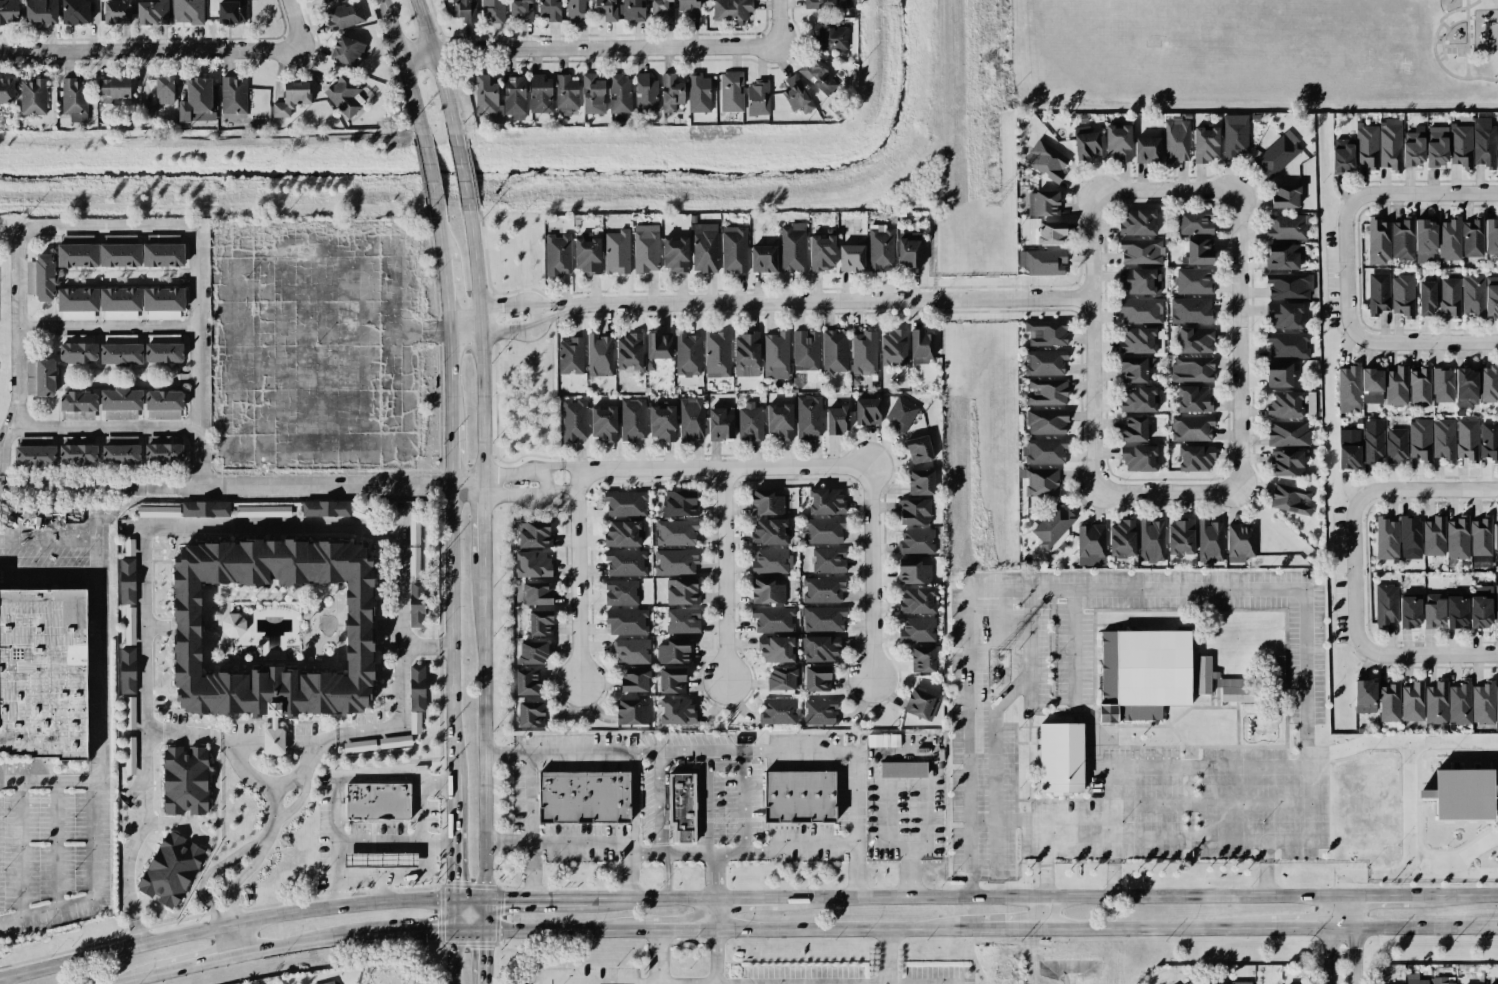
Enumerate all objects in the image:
building: (324, 0)
road: (1472, 3)
building: (824, 4)
building: (607, 9)
building: (662, 9)
building: (689, 9)
building: (731, 9)
building: (465, 10)
building: (493, 10)
building: (521, 10)
building: (550, 10)
building: (633, 10)
road: (1452, 10)
building: (8, 11)
building: (40, 11)
building: (75, 11)
building: (117, 11)
building: (187, 11)
building: (577, 11)
building: (152, 12)
building: (232, 12)
building: (345, 16)
road: (785, 20)
road: (1445, 23)
road: (1445, 32)
building: (830, 38)
road: (1468, 39)
road: (1455, 45)
road: (589, 49)
road: (171, 51)
building: (346, 51)
road: (1440, 52)
road: (1442, 57)
road: (436, 69)
road: (1446, 69)
road: (402, 70)
building: (818, 76)
building: (113, 87)
building: (6, 90)
building: (164, 90)
building: (731, 91)
building: (671, 92)
building: (486, 93)
building: (566, 93)
building: (619, 93)
building: (645, 93)
building: (698, 93)
building: (540, 94)
building: (593, 94)
building: (796, 94)
building: (343, 95)
building: (32, 96)
building: (233, 97)
building: (291, 98)
building: (757, 98)
building: (74, 99)
building: (197, 100)
building: (145, 112)
building: (1235, 135)
building: (1176, 140)
building: (1482, 141)
building: (1118, 142)
building: (1206, 144)
building: (1389, 144)
building: (1087, 145)
building: (1366, 145)
building: (1460, 145)
building: (1436, 146)
building: (1413, 147)
building: (1497, 149)
building: (1147, 150)
building: (1278, 154)
building: (1046, 160)
road: (428, 174)
road: (461, 174)
road: (1166, 193)
road: (1418, 194)
building: (1285, 197)
power tower: (992, 203)
building: (1043, 203)
building: (1194, 221)
building: (1136, 222)
building: (1286, 227)
road: (437, 228)
road: (347, 233)
building: (1050, 233)
building: (1491, 236)
building: (1472, 238)
building: (1402, 239)
building: (1450, 239)
building: (1425, 241)
building: (1379, 242)
building: (704, 247)
building: (792, 247)
building: (646, 248)
building: (734, 249)
building: (909, 249)
building: (822, 250)
building: (1141, 251)
building: (1198, 251)
building: (117, 252)
building: (617, 252)
building: (587, 253)
building: (675, 254)
building: (557, 255)
building: (851, 257)
building: (1282, 257)
building: (763, 258)
building: (1043, 261)
building: (1140, 281)
building: (1193, 281)
building: (1288, 286)
road: (445, 289)
building: (1378, 293)
building: (1472, 293)
building: (1403, 295)
building: (1449, 296)
building: (1491, 296)
building: (1426, 298)
road: (833, 301)
building: (120, 303)
road: (506, 305)
building: (1141, 310)
building: (1191, 310)
road: (534, 315)
building: (1285, 315)
building: (1046, 332)
road: (512, 333)
road: (198, 336)
building: (83, 338)
building: (1142, 340)
building: (1195, 340)
road: (481, 341)
road: (1365, 341)
road: (1097, 342)
road: (1238, 342)
building: (1287, 344)
building: (657, 347)
building: (920, 347)
building: (163, 348)
building: (893, 348)
building: (120, 350)
building: (805, 350)
building: (629, 351)
building: (78, 352)
building: (834, 352)
building: (864, 353)
building: (688, 354)
building: (717, 354)
building: (746, 354)
building: (599, 355)
building: (776, 355)
building: (570, 356)
building: (1044, 362)
road: (199, 364)
building: (1135, 368)
building: (1192, 369)
road: (449, 370)
building: (1279, 374)
building: (45, 377)
building: (1488, 383)
building: (1442, 384)
building: (1372, 386)
building: (1396, 386)
building: (1420, 386)
building: (1466, 387)
building: (1349, 388)
building: (1046, 392)
building: (1139, 399)
building: (1194, 399)
building: (121, 402)
building: (164, 404)
building: (1285, 404)
building: (78, 405)
building: (868, 411)
building: (901, 413)
building: (808, 416)
building: (691, 418)
building: (573, 419)
building: (632, 419)
building: (662, 421)
building: (779, 421)
building: (1046, 421)
building: (750, 422)
building: (604, 423)
building: (721, 423)
building: (1191, 428)
building: (1133, 429)
building: (1288, 433)
building: (158, 439)
building: (1420, 439)
building: (1444, 439)
building: (1467, 439)
building: (78, 440)
building: (1489, 440)
building: (1372, 446)
building: (1396, 446)
road: (449, 449)
building: (919, 449)
building: (120, 450)
building: (1044, 451)
building: (35, 452)
building: (163, 453)
building: (78, 454)
building: (1349, 456)
building: (1138, 458)
building: (1195, 458)
road: (726, 460)
building: (1288, 463)
road: (532, 470)
road: (467, 481)
building: (1040, 481)
building: (921, 482)
road: (543, 483)
road: (483, 486)
road: (61, 489)
road: (286, 490)
road: (466, 491)
road: (1168, 491)
road: (1414, 491)
road: (535, 498)
building: (1290, 499)
building: (825, 501)
building: (766, 502)
building: (625, 503)
building: (680, 503)
building: (205, 508)
building: (325, 508)
building: (158, 511)
building: (263, 511)
building: (914, 511)
road: (483, 524)
building: (1053, 525)
building: (414, 527)
building: (824, 530)
building: (771, 531)
building: (1495, 531)
building: (676, 532)
road: (145, 533)
building: (623, 533)
building: (534, 534)
building: (1180, 536)
building: (1434, 536)
building: (1480, 536)
building: (1410, 537)
building: (1457, 537)
building: (1122, 538)
building: (1386, 538)
building: (1150, 540)
building: (916, 541)
building: (1210, 541)
building: (1240, 542)
building: (1091, 545)
building: (129, 547)
building: (828, 560)
building: (675, 561)
building: (771, 561)
building: (625, 562)
building: (414, 563)
building: (533, 564)
road: (872, 568)
road: (727, 571)
building: (913, 571)
road: (580, 579)
building: (127, 581)
building: (823, 589)
road: (1158, 590)
building: (682, 591)
building: (767, 591)
building: (620, 592)
building: (537, 593)
building: (917, 600)
building: (416, 604)
building: (1385, 604)
building: (1496, 605)
building: (1481, 607)
building: (1433, 610)
building: (1410, 611)
building: (1457, 611)
building: (823, 618)
building: (773, 619)
building: (627, 621)
building: (682, 621)
building: (540, 622)
building: (130, 625)
road: (450, 629)
road: (95, 630)
building: (273, 630)
building: (917, 630)
road: (399, 644)
road: (1074, 644)
building: (820, 648)
building: (778, 649)
road: (1372, 649)
building: (631, 651)
building: (673, 651)
building: (532, 652)
building: (922, 659)
building: (127, 670)
building: (1277, 670)
building: (43, 672)
theme park: (43, 672)
building: (783, 678)
building: (817, 678)
power tower: (994, 678)
building: (634, 680)
building: (672, 680)
building: (527, 682)
building: (1222, 683)
building: (416, 696)
building: (1365, 696)
building: (1117, 701)
building: (1389, 702)
building: (1412, 702)
building: (1436, 703)
building: (1459, 703)
building: (1483, 703)
building: (920, 704)
building: (1496, 704)
building: (676, 711)
building: (130, 712)
building: (631, 712)
building: (779, 712)
building: (820, 712)
building: (530, 713)
road: (992, 719)
road: (484, 726)
road: (1452, 737)
building: (884, 740)
building: (395, 741)
building: (359, 745)
road: (742, 754)
building: (130, 755)
road: (1185, 767)
building: (903, 769)
road: (297, 776)
road: (348, 778)
building: (185, 780)
building: (1464, 794)
building: (799, 795)
road: (419, 796)
building: (584, 796)
road: (1406, 799)
building: (378, 801)
building: (681, 806)
road: (708, 807)
road: (982, 819)
road: (1077, 819)
road: (528, 826)
road: (630, 827)
road: (658, 832)
road: (92, 840)
road: (1190, 841)
road: (558, 842)
road: (132, 843)
road: (57, 845)
road: (365, 845)
road: (920, 845)
parking lot: (52, 846)
road: (21, 849)
road: (455, 850)
road: (786, 852)
building: (382, 860)
gas station: (382, 860)
building: (171, 870)
road: (1452, 871)
road: (386, 874)
road: (715, 877)
road: (240, 880)
traffic signals: (455, 881)
road: (1455, 896)
road: (1341, 897)
road: (1377, 897)
road: (1060, 898)
road: (748, 900)
road: (502, 901)
traffic signals: (505, 901)
road: (633, 901)
road: (1044, 913)
road: (715, 914)
road: (224, 927)
road: (1270, 927)
road: (683, 928)
road: (848, 928)
road: (1012, 928)
traffic signals: (436, 929)
road: (438, 929)
road: (567, 929)
road: (227, 942)
road: (311, 942)
road: (484, 943)
traffic signals: (484, 948)
road: (452, 956)
road: (659, 956)
road: (715, 956)
road: (889, 956)
road: (190, 966)
building: (1415, 979)
road: (134, 980)
building: (1443, 980)
building: (330, 982)
building: (1240, 982)

